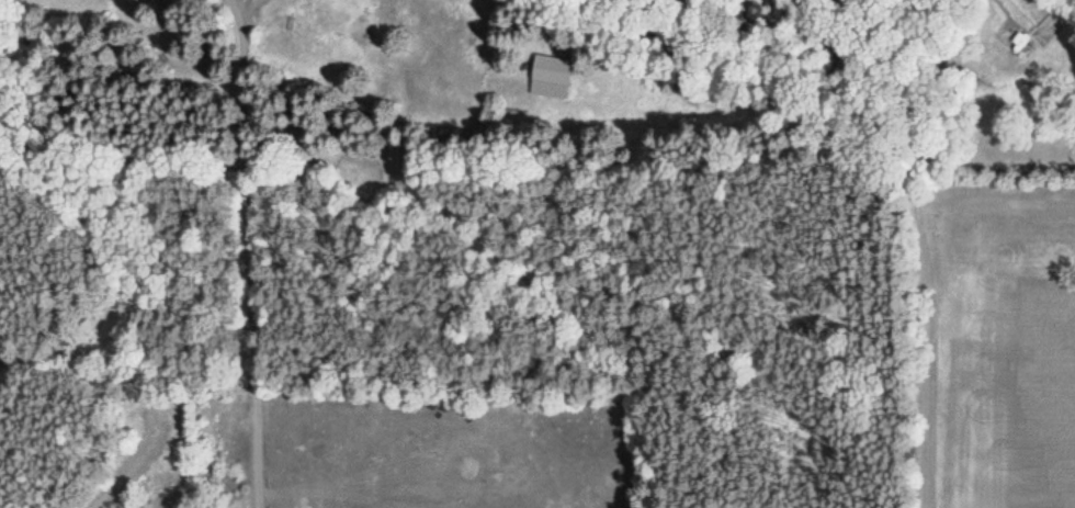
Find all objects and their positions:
building: (551, 77)
road: (247, 253)

